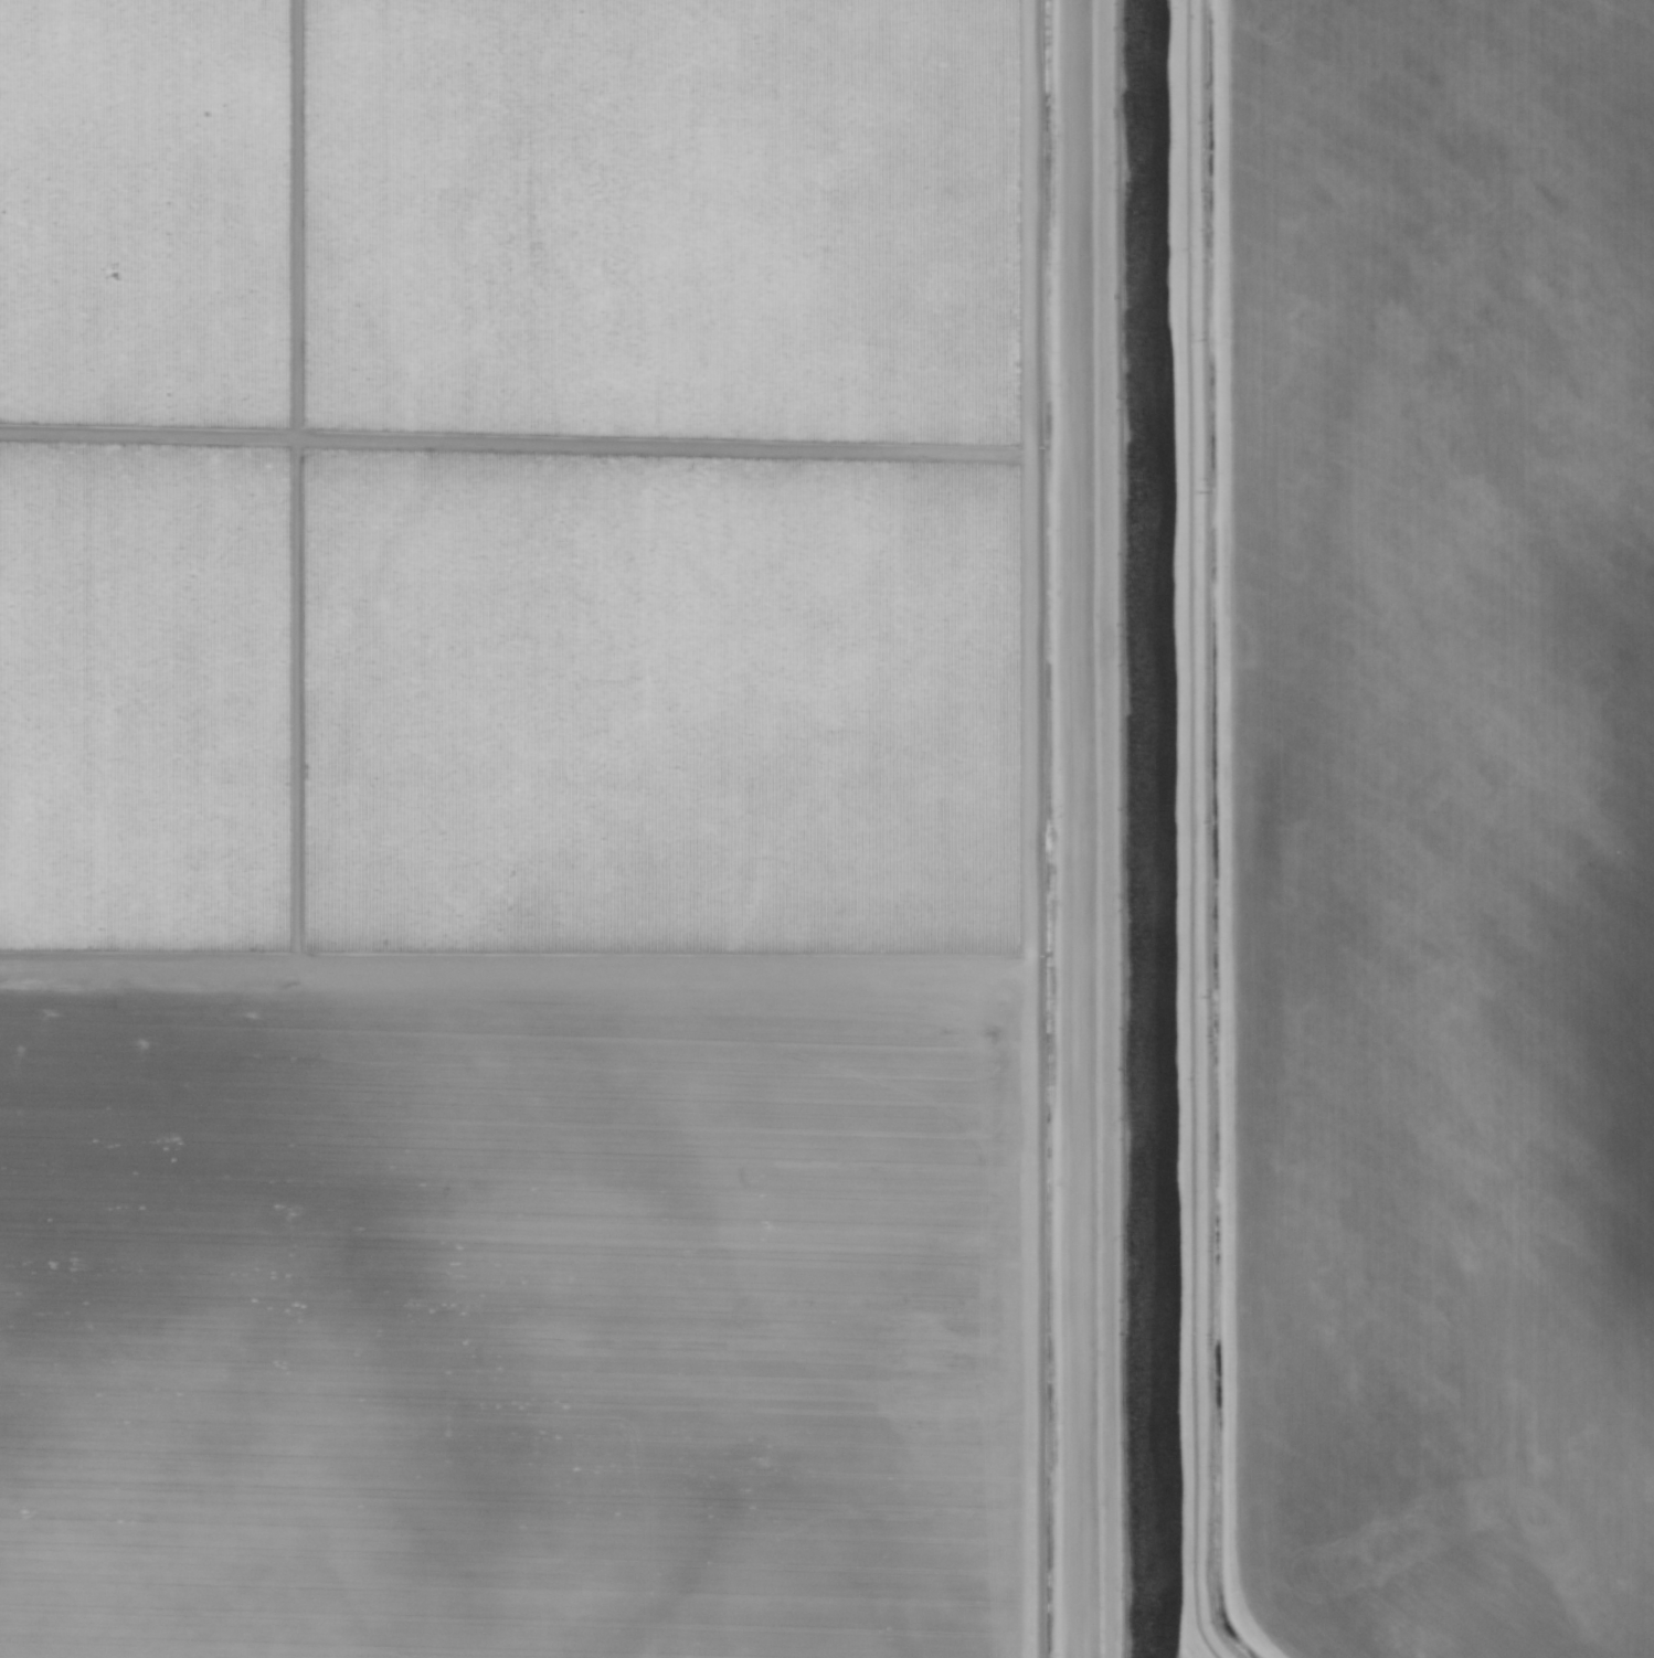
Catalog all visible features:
crop: (825, 823)

